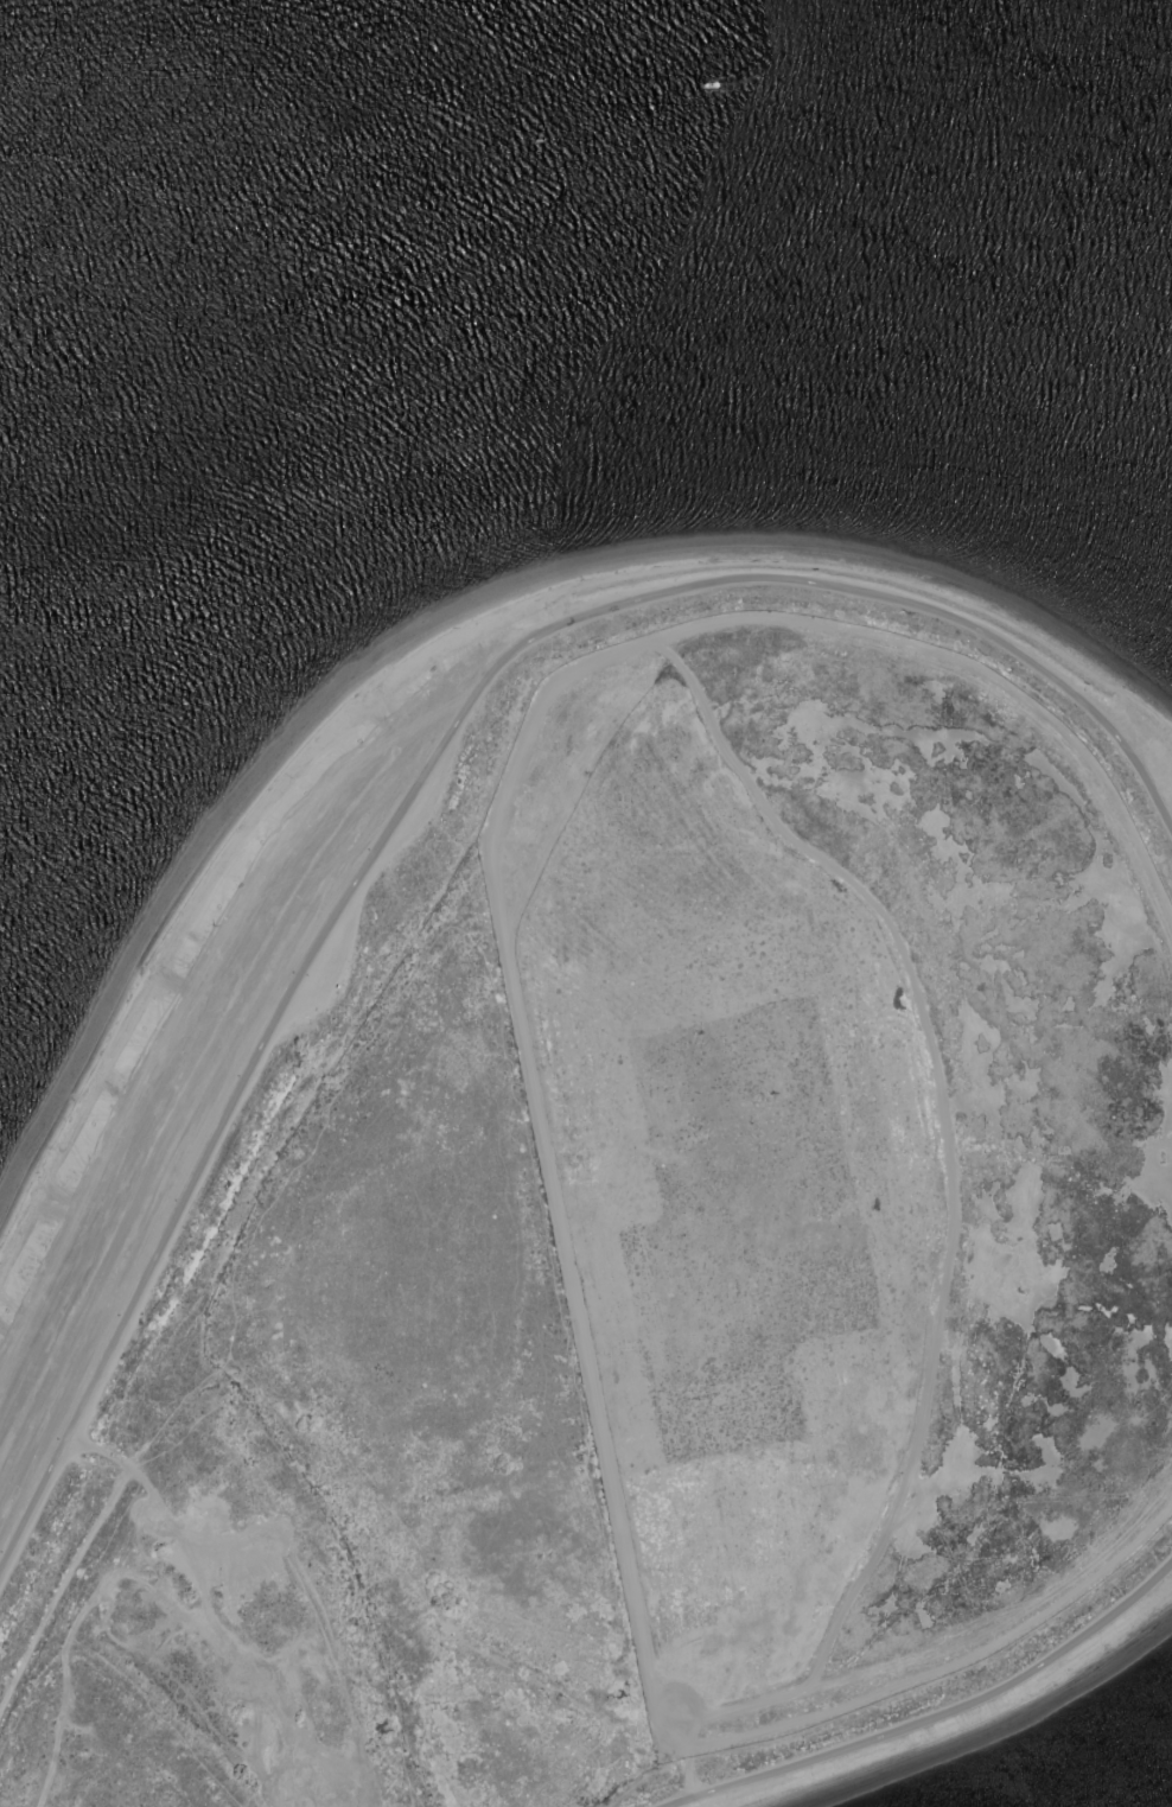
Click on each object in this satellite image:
road: (428, 762)
park: (612, 1221)
road: (935, 1717)

